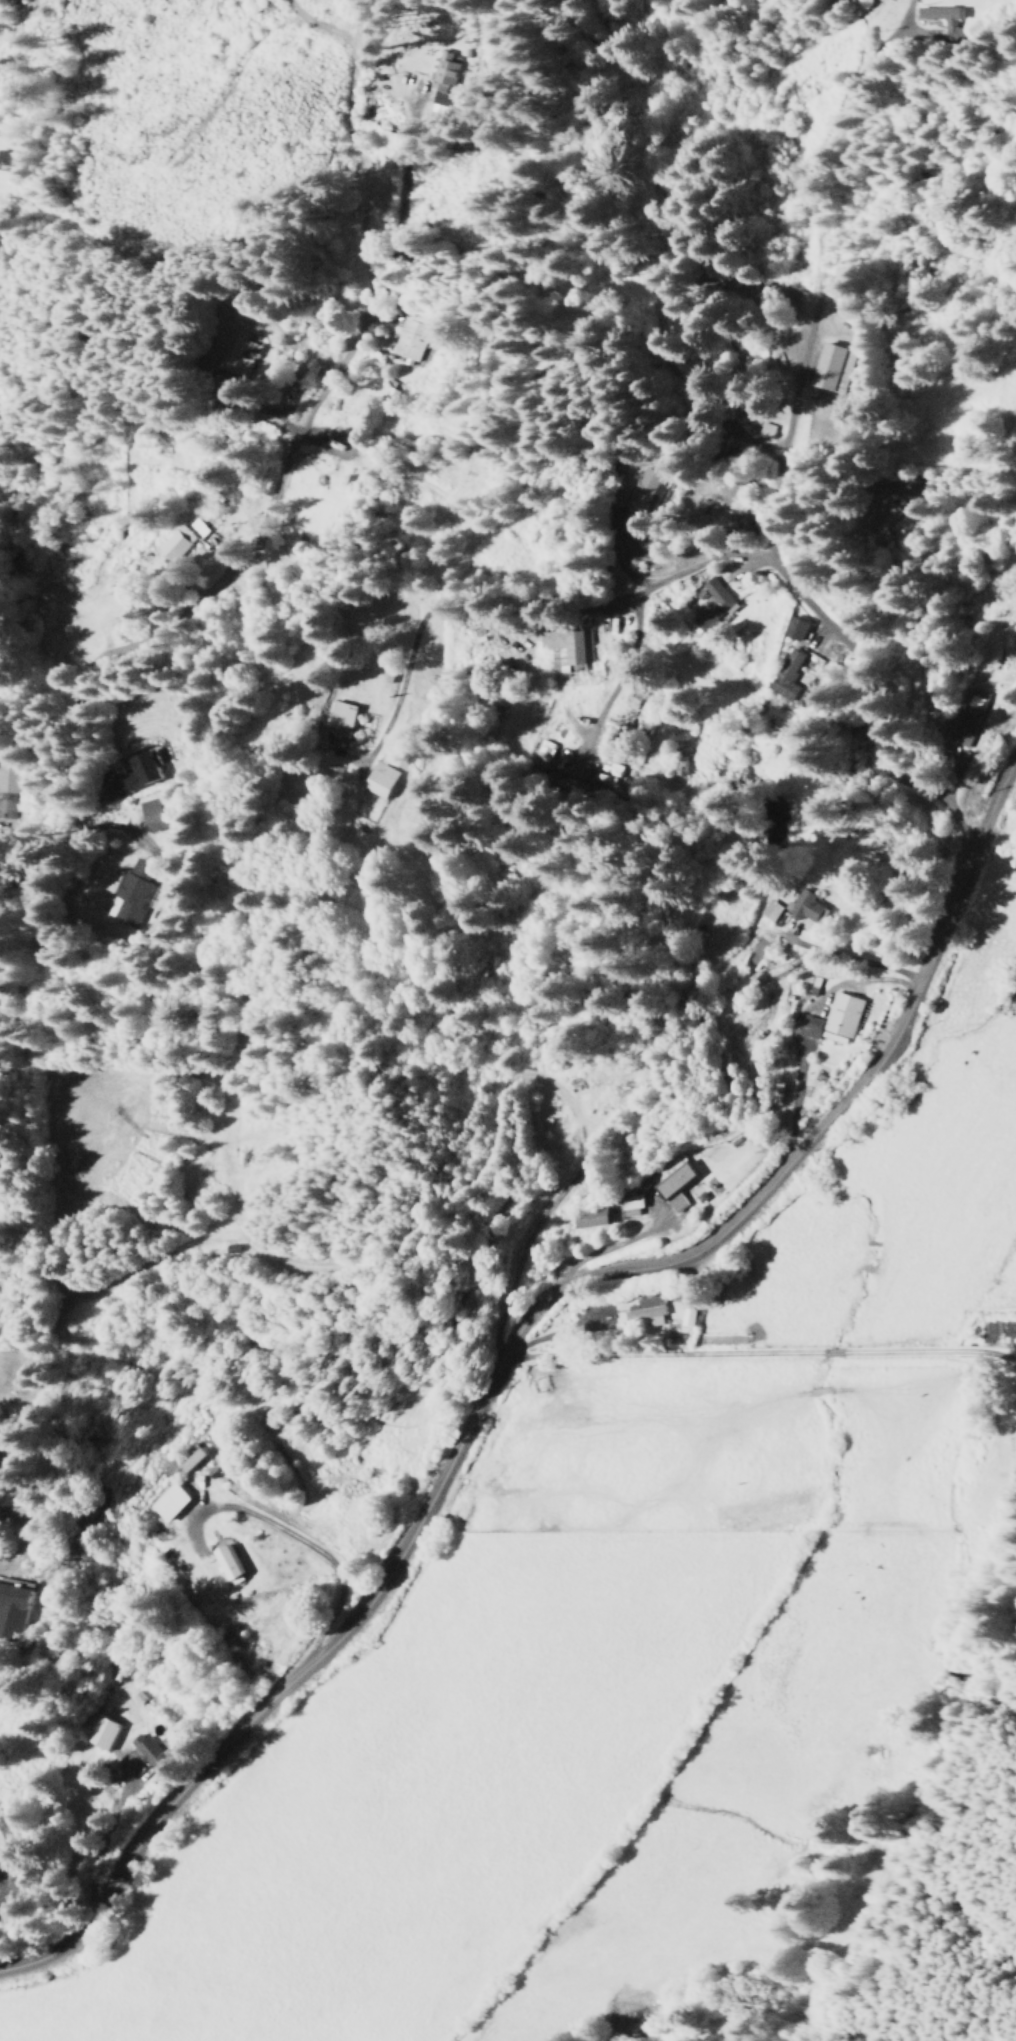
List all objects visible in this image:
building: (442, 74)
building: (7, 160)
road: (392, 311)
building: (416, 334)
building: (252, 351)
building: (832, 368)
building: (763, 431)
building: (341, 446)
road: (771, 478)
building: (647, 486)
road: (268, 515)
building: (173, 546)
road: (517, 602)
building: (714, 602)
building: (794, 628)
building: (565, 649)
building: (792, 676)
building: (632, 699)
building: (968, 718)
building: (341, 719)
building: (543, 752)
road: (1012, 762)
building: (677, 766)
building: (143, 772)
building: (6, 777)
building: (383, 780)
building: (156, 815)
building: (135, 889)
building: (805, 907)
building: (770, 911)
building: (833, 1019)
building: (676, 1187)
building: (628, 1207)
building: (589, 1218)
building: (644, 1311)
building: (689, 1317)
road: (509, 1343)
road: (758, 1354)
building: (193, 1459)
building: (171, 1503)
road: (300, 1542)
building: (230, 1566)
building: (13, 1613)
building: (101, 1733)
building: (148, 1751)

